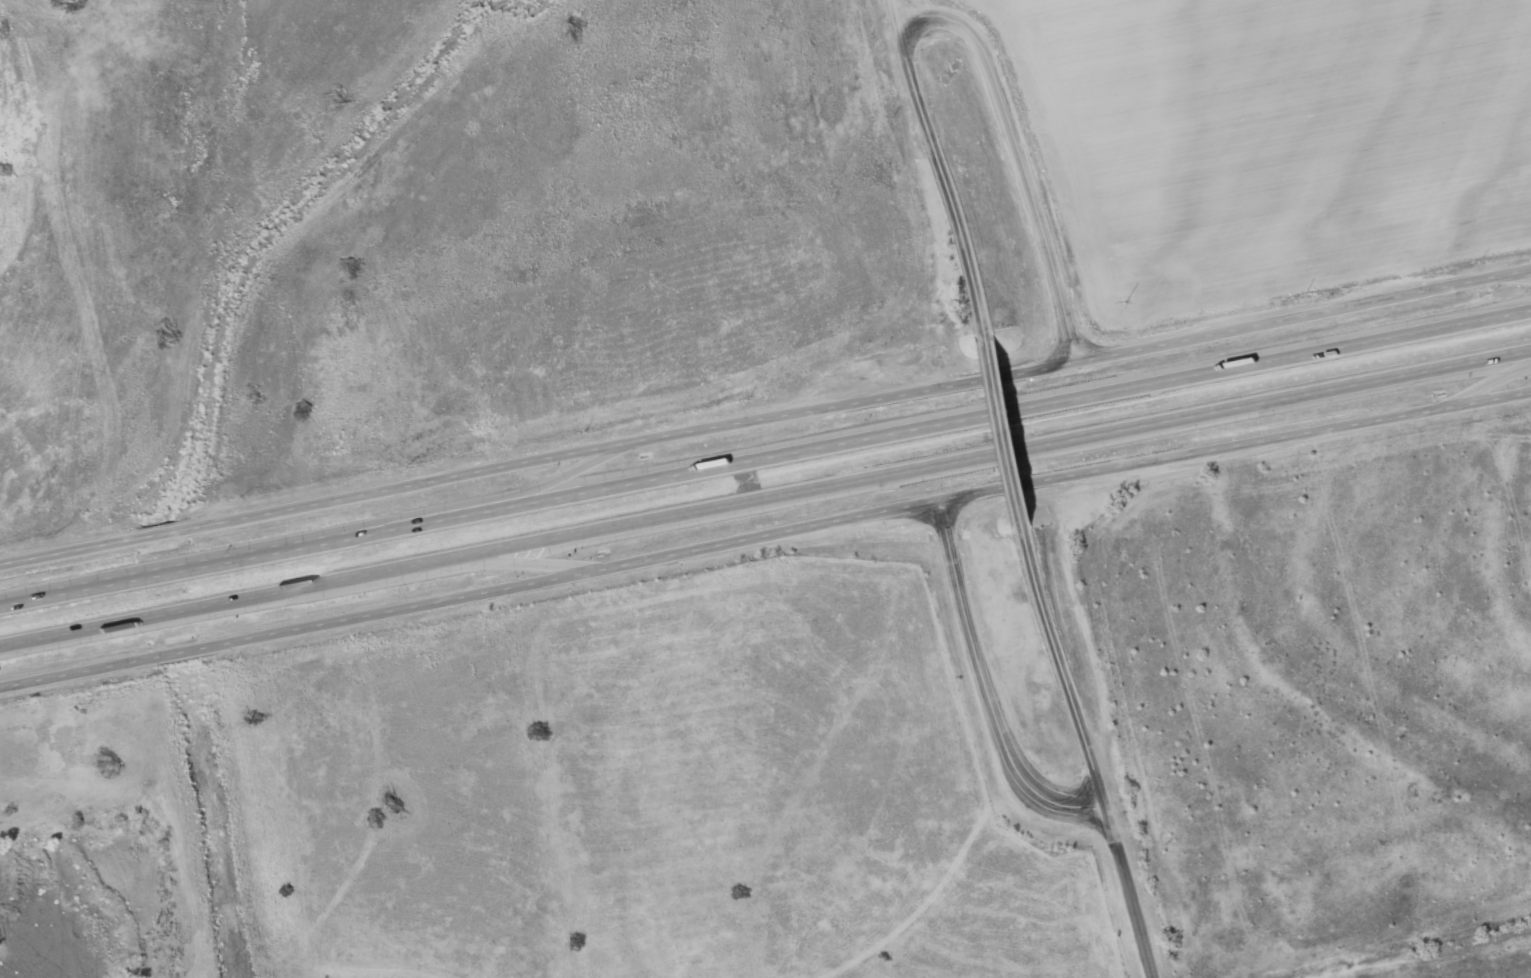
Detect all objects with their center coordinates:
building: (68, 1)
road: (897, 13)
road: (1022, 152)
road: (947, 179)
road: (1518, 275)
road: (1484, 384)
road: (766, 419)
road: (1012, 430)
road: (765, 454)
road: (765, 498)
road: (475, 501)
road: (766, 543)
road: (397, 577)
road: (987, 688)
road: (1089, 753)

